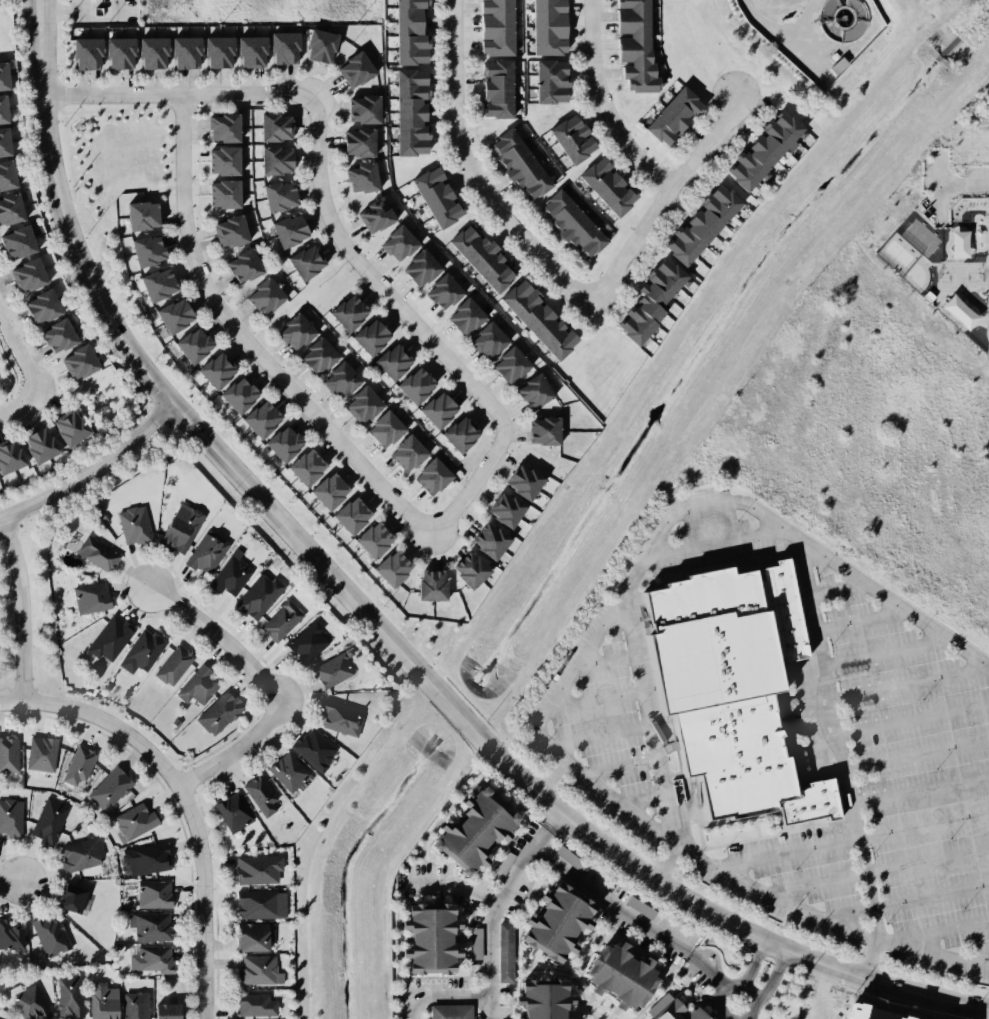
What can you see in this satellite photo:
road: (64, 14)
building: (842, 19)
storage tank: (842, 19)
building: (500, 28)
building: (553, 28)
road: (770, 30)
park: (5, 31)
building: (417, 32)
building: (640, 44)
building: (325, 47)
building: (286, 49)
building: (254, 50)
building: (223, 51)
building: (191, 52)
building: (160, 53)
building: (90, 55)
building: (126, 55)
building: (835, 66)
building: (359, 68)
building: (3, 76)
building: (557, 81)
building: (500, 89)
road: (175, 95)
road: (599, 104)
building: (362, 109)
building: (1, 114)
building: (417, 115)
building: (677, 116)
building: (269, 126)
building: (229, 127)
building: (575, 138)
building: (2, 143)
building: (362, 143)
building: (768, 149)
building: (231, 162)
building: (280, 162)
building: (526, 162)
road: (468, 169)
building: (5, 173)
building: (365, 181)
road: (967, 181)
building: (612, 186)
road: (658, 194)
building: (230, 195)
building: (284, 197)
building: (443, 197)
building: (13, 211)
building: (379, 214)
building: (144, 218)
building: (577, 221)
building: (984, 223)
building: (707, 226)
building: (293, 227)
building: (235, 231)
building: (19, 242)
building: (402, 242)
building: (147, 252)
building: (959, 253)
building: (485, 257)
building: (309, 260)
building: (249, 265)
building: (425, 265)
building: (31, 275)
road: (372, 280)
building: (665, 281)
building: (161, 285)
building: (447, 290)
building: (266, 296)
building: (985, 301)
building: (47, 305)
building: (351, 311)
building: (960, 311)
building: (470, 314)
building: (537, 315)
building: (177, 318)
building: (645, 322)
building: (299, 332)
building: (374, 334)
building: (62, 335)
building: (493, 340)
road: (249, 345)
building: (198, 346)
road: (19, 355)
building: (321, 358)
building: (396, 359)
building: (83, 362)
building: (514, 364)
building: (221, 370)
park: (8, 372)
road: (11, 376)
building: (343, 380)
building: (418, 383)
building: (538, 391)
building: (242, 395)
road: (11, 404)
road: (19, 404)
building: (364, 405)
building: (441, 407)
building: (264, 422)
building: (73, 429)
building: (386, 429)
building: (538, 430)
building: (464, 432)
building: (288, 444)
building: (44, 445)
building: (408, 453)
building: (12, 456)
building: (312, 467)
road: (92, 472)
building: (434, 477)
building: (517, 479)
road: (471, 489)
building: (332, 491)
building: (501, 507)
road: (683, 509)
building: (349, 516)
building: (133, 524)
building: (179, 525)
building: (371, 537)
building: (486, 539)
road: (714, 543)
building: (91, 554)
building: (201, 558)
building: (389, 567)
building: (467, 570)
building: (226, 582)
building: (429, 586)
building: (88, 594)
building: (256, 599)
road: (25, 609)
building: (279, 620)
road: (375, 627)
building: (106, 636)
road: (217, 636)
building: (305, 641)
building: (140, 649)
building: (171, 662)
building: (329, 673)
building: (198, 683)
building: (730, 687)
building: (222, 713)
building: (334, 716)
road: (648, 720)
parking lot: (781, 733)
road: (838, 737)
road: (146, 745)
building: (314, 748)
road: (234, 750)
building: (9, 754)
building: (40, 756)
building: (77, 766)
building: (286, 773)
road: (920, 788)
building: (109, 789)
building: (258, 796)
road: (619, 798)
building: (232, 810)
building: (8, 818)
building: (46, 818)
road: (554, 818)
building: (134, 822)
building: (466, 828)
road: (787, 851)
building: (77, 853)
building: (571, 859)
building: (143, 860)
road: (665, 862)
building: (255, 867)
building: (504, 867)
road: (2, 878)
road: (450, 885)
building: (149, 896)
road: (770, 898)
building: (66, 900)
road: (608, 901)
road: (495, 903)
building: (257, 904)
building: (640, 907)
building: (550, 920)
building: (149, 925)
building: (48, 936)
building: (8, 938)
building: (422, 938)
building: (250, 939)
road: (932, 947)
building: (506, 952)
road: (203, 953)
building: (148, 959)
road: (869, 959)
road: (750, 963)
road: (704, 969)
building: (262, 971)
building: (616, 977)
road: (771, 980)
road: (732, 983)
road: (823, 993)
road: (438, 996)
building: (65, 997)
building: (26, 1003)
building: (101, 1003)
building: (132, 1005)
building: (257, 1005)
road: (488, 1007)
building: (162, 1010)
building: (449, 1010)
building: (674, 1012)
building: (533, 1014)
road: (744, 1018)

